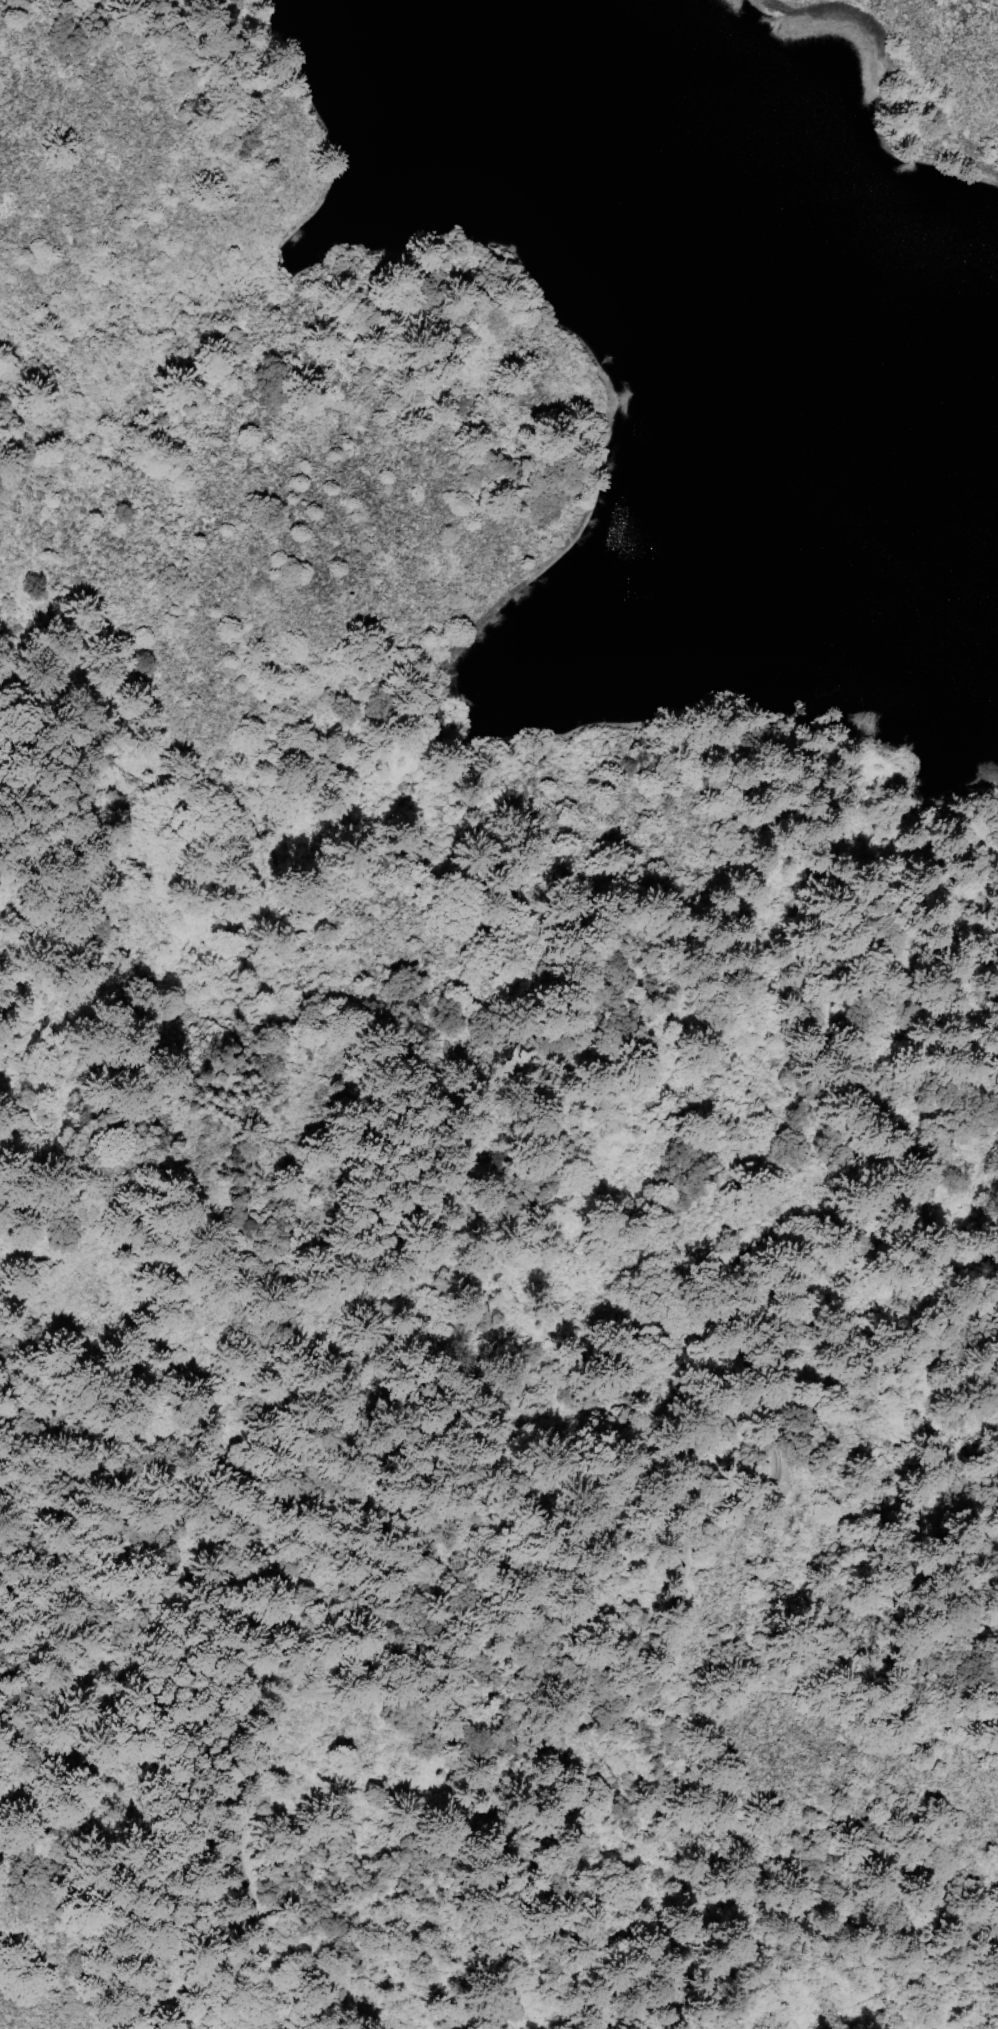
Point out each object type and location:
road: (762, 1458)

